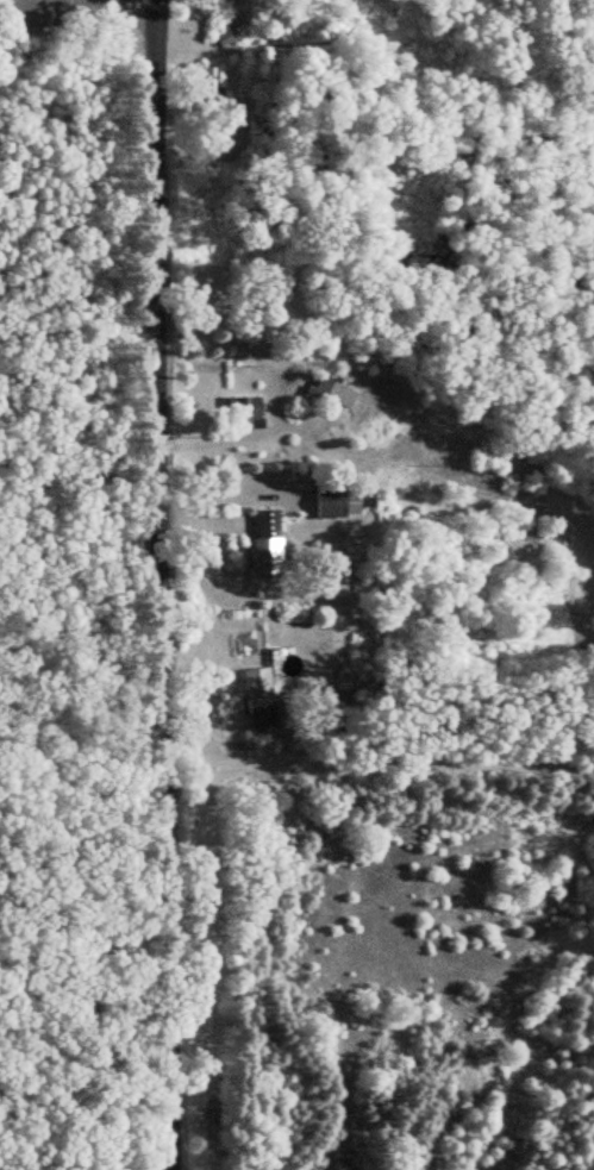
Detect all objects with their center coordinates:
road: (130, 8)
building: (204, 83)
building: (325, 392)
building: (238, 412)
building: (331, 498)
building: (262, 544)
road: (158, 584)
road: (569, 619)
building: (257, 697)

